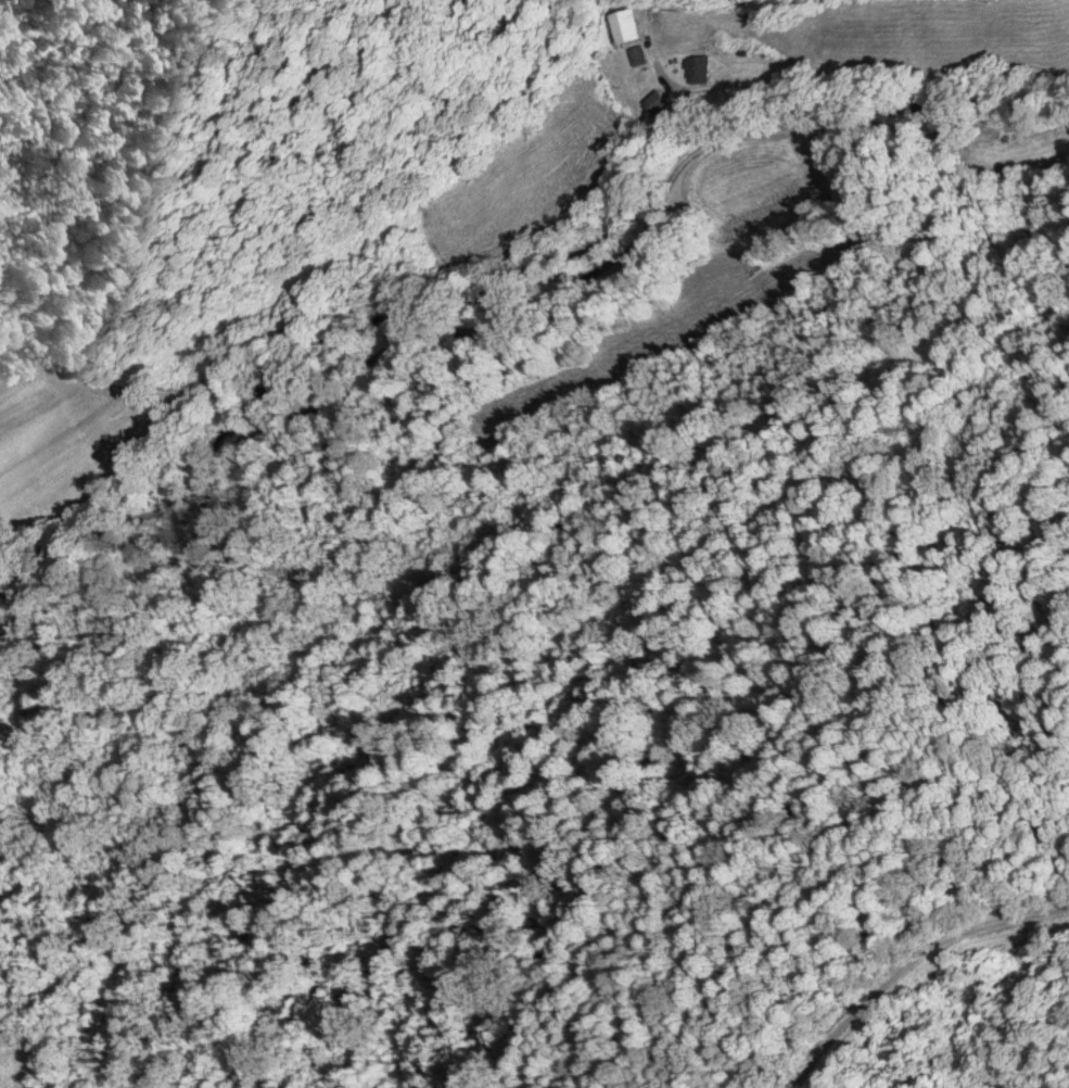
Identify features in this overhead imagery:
building: (625, 25)
building: (638, 54)
building: (699, 69)
building: (659, 102)
building: (842, 191)
road: (514, 298)
road: (907, 961)

